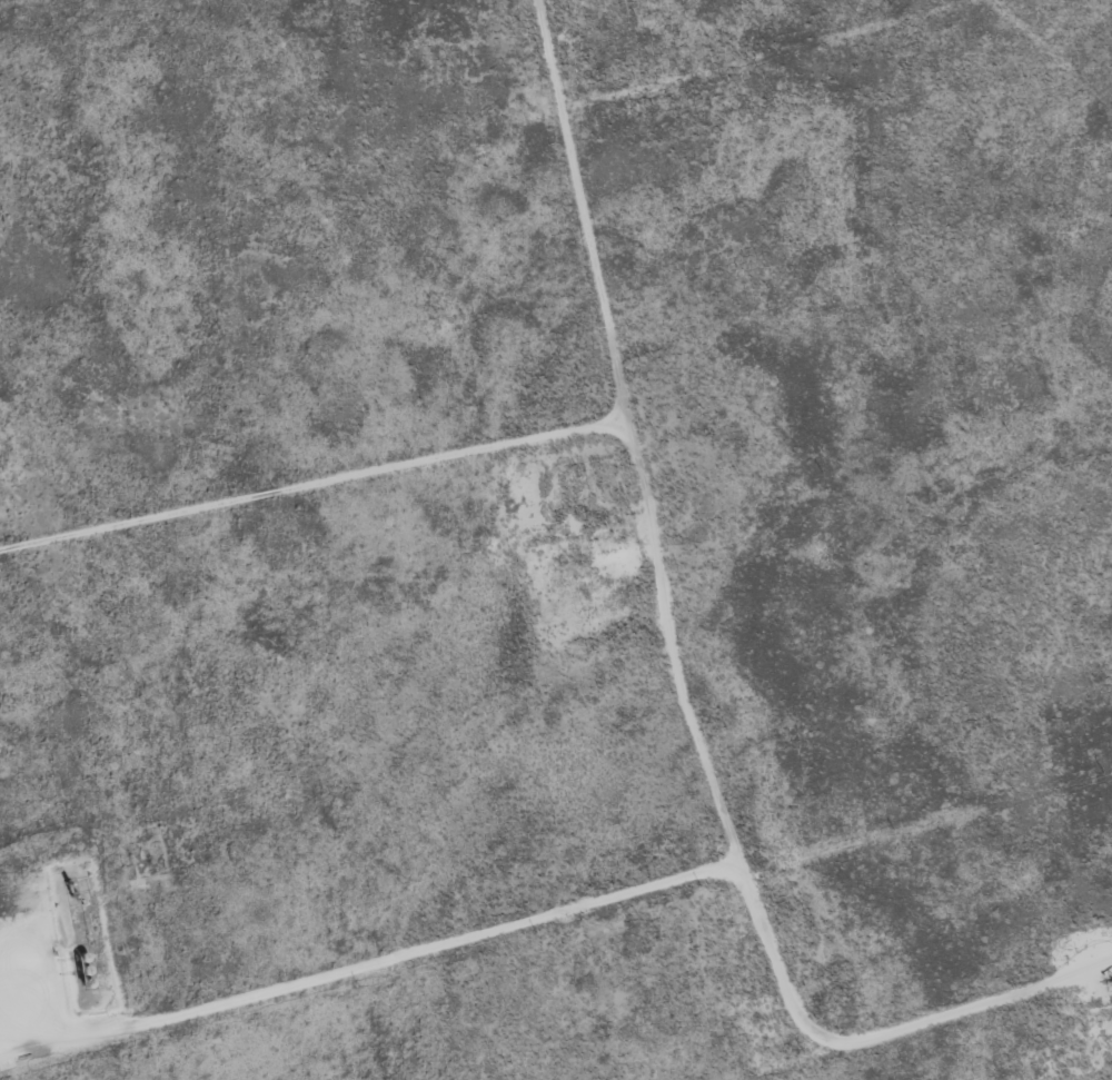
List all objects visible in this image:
road: (824, 83)
road: (1053, 1063)

